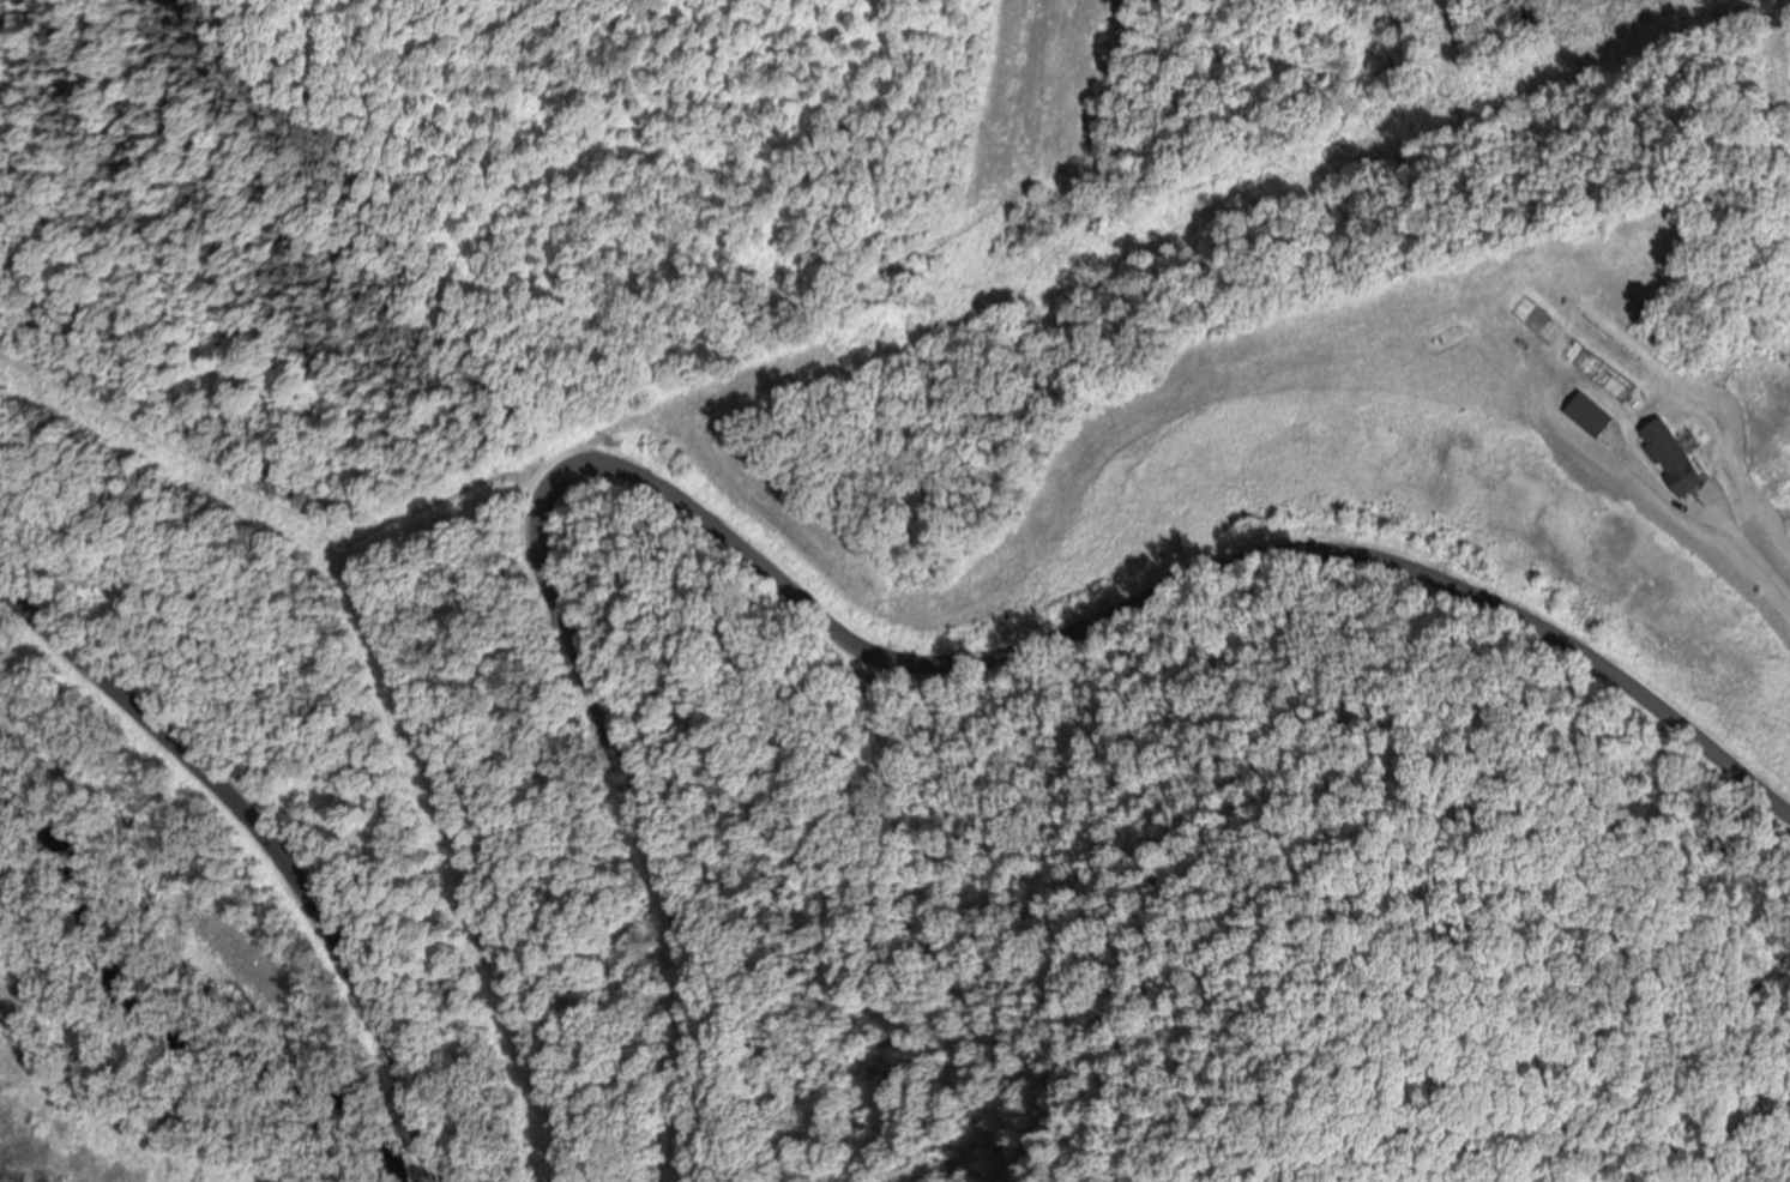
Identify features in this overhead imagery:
building: (1670, 453)
road: (1753, 554)
road: (827, 635)
road: (272, 846)

